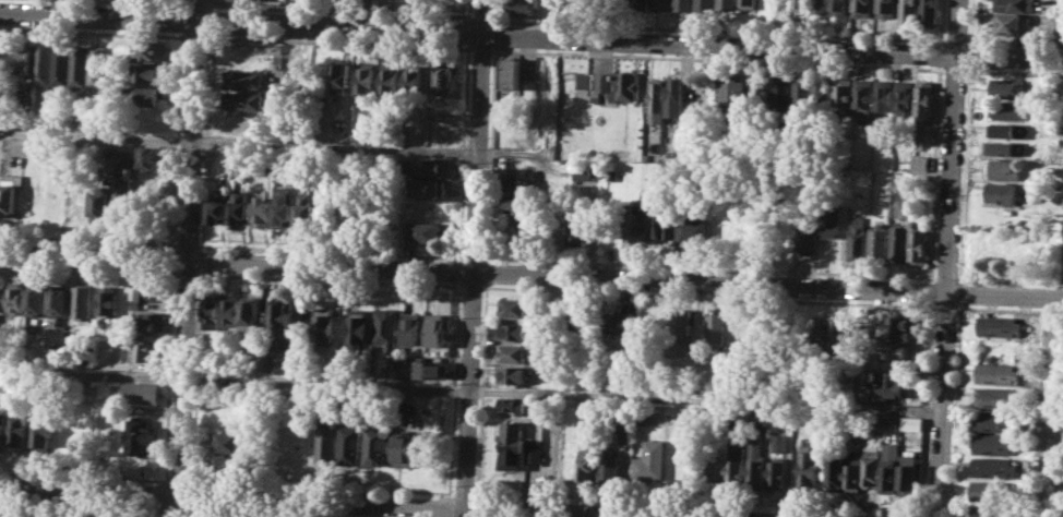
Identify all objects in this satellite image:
building: (249, 0)
road: (153, 1)
road: (196, 3)
building: (571, 3)
building: (750, 3)
road: (211, 4)
building: (661, 4)
building: (683, 4)
building: (728, 4)
building: (801, 4)
building: (1012, 4)
building: (642, 5)
building: (706, 5)
building: (819, 5)
building: (521, 7)
building: (840, 7)
building: (863, 8)
building: (886, 8)
road: (339, 10)
road: (469, 10)
road: (497, 10)
building: (908, 10)
building: (929, 11)
road: (482, 17)
road: (210, 21)
road: (940, 21)
road: (968, 23)
building: (1012, 23)
building: (1058, 25)
road: (716, 28)
road: (469, 32)
road: (94, 33)
road: (497, 34)
road: (530, 35)
road: (196, 37)
road: (338, 43)
building: (150, 49)
road: (482, 49)
road: (939, 53)
road: (967, 53)
building: (25, 59)
road: (717, 59)
building: (7, 63)
building: (43, 63)
building: (61, 63)
building: (79, 65)
building: (99, 65)
road: (953, 69)
road: (1013, 71)
building: (151, 72)
building: (512, 73)
building: (444, 75)
building: (341, 77)
building: (366, 77)
building: (390, 77)
building: (246, 79)
building: (584, 80)
building: (414, 81)
building: (548, 81)
building: (621, 84)
building: (1005, 87)
building: (762, 91)
building: (1059, 91)
building: (843, 92)
building: (823, 93)
building: (803, 94)
building: (150, 95)
building: (784, 95)
building: (904, 95)
building: (674, 96)
building: (882, 96)
building: (733, 97)
building: (863, 98)
building: (656, 99)
building: (243, 100)
building: (923, 100)
building: (1005, 109)
building: (148, 118)
building: (244, 122)
building: (1007, 130)
building: (441, 133)
road: (205, 142)
road: (238, 142)
building: (1004, 147)
road: (464, 152)
road: (491, 155)
building: (154, 156)
building: (124, 157)
building: (920, 163)
building: (423, 166)
building: (1001, 168)
building: (581, 170)
road: (934, 172)
road: (963, 172)
building: (428, 187)
building: (517, 187)
building: (998, 190)
building: (123, 196)
building: (8, 199)
building: (77, 202)
building: (101, 204)
building: (220, 206)
building: (285, 206)
building: (514, 206)
building: (241, 208)
building: (262, 211)
building: (306, 212)
building: (351, 215)
building: (829, 220)
building: (667, 223)
building: (631, 224)
building: (649, 226)
building: (691, 226)
building: (428, 231)
building: (785, 232)
building: (576, 233)
building: (808, 233)
building: (857, 239)
road: (89, 240)
building: (898, 241)
building: (877, 242)
road: (187, 244)
building: (918, 247)
road: (331, 250)
road: (473, 256)
road: (188, 258)
road: (474, 258)
road: (945, 258)
road: (201, 260)
road: (708, 266)
road: (88, 268)
road: (459, 269)
road: (471, 270)
road: (487, 270)
road: (187, 273)
road: (945, 277)
road: (330, 279)
road: (1008, 279)
road: (471, 286)
building: (150, 290)
road: (930, 291)
road: (958, 292)
road: (1003, 293)
road: (707, 296)
building: (2, 298)
building: (16, 298)
building: (35, 299)
building: (81, 301)
building: (106, 301)
building: (59, 302)
building: (136, 305)
building: (515, 306)
road: (943, 306)
road: (1007, 309)
building: (214, 311)
building: (553, 311)
building: (232, 313)
building: (250, 313)
building: (282, 317)
building: (583, 320)
building: (151, 322)
building: (622, 322)
building: (324, 324)
building: (898, 326)
building: (999, 326)
building: (358, 327)
building: (387, 327)
building: (411, 328)
building: (684, 328)
building: (716, 328)
building: (433, 329)
building: (515, 329)
building: (819, 333)
building: (840, 335)
building: (0, 350)
building: (736, 350)
building: (145, 351)
building: (753, 351)
building: (895, 351)
building: (514, 352)
building: (280, 360)
building: (430, 368)
building: (998, 373)
building: (513, 374)
road: (195, 376)
building: (894, 383)
road: (455, 386)
road: (470, 389)
road: (483, 389)
building: (84, 390)
building: (141, 392)
building: (995, 396)
building: (512, 404)
road: (925, 404)
road: (1048, 406)
road: (954, 409)
building: (647, 413)
building: (234, 419)
building: (994, 420)
building: (910, 422)
building: (2, 423)
building: (20, 428)
building: (625, 429)
building: (43, 432)
building: (140, 436)
building: (512, 438)
building: (232, 442)
building: (777, 442)
building: (327, 444)
building: (353, 444)
building: (378, 444)
building: (993, 444)
building: (403, 447)
building: (533, 450)
building: (649, 459)
building: (585, 460)
building: (565, 462)
building: (607, 462)
building: (231, 465)
building: (755, 465)
building: (808, 466)
building: (888, 466)
building: (871, 467)
building: (993, 467)
building: (853, 469)
building: (710, 470)
building: (835, 470)
building: (734, 471)
building: (777, 473)
road: (85, 474)
building: (908, 476)
road: (179, 479)
road: (319, 485)
building: (991, 491)
road: (190, 497)
road: (703, 500)
road: (349, 502)
road: (450, 505)
road: (83, 506)
road: (478, 507)
road: (177, 510)
building: (990, 510)
road: (189, 513)
road: (247, 514)
building: (141, 516)
road: (920, 516)

